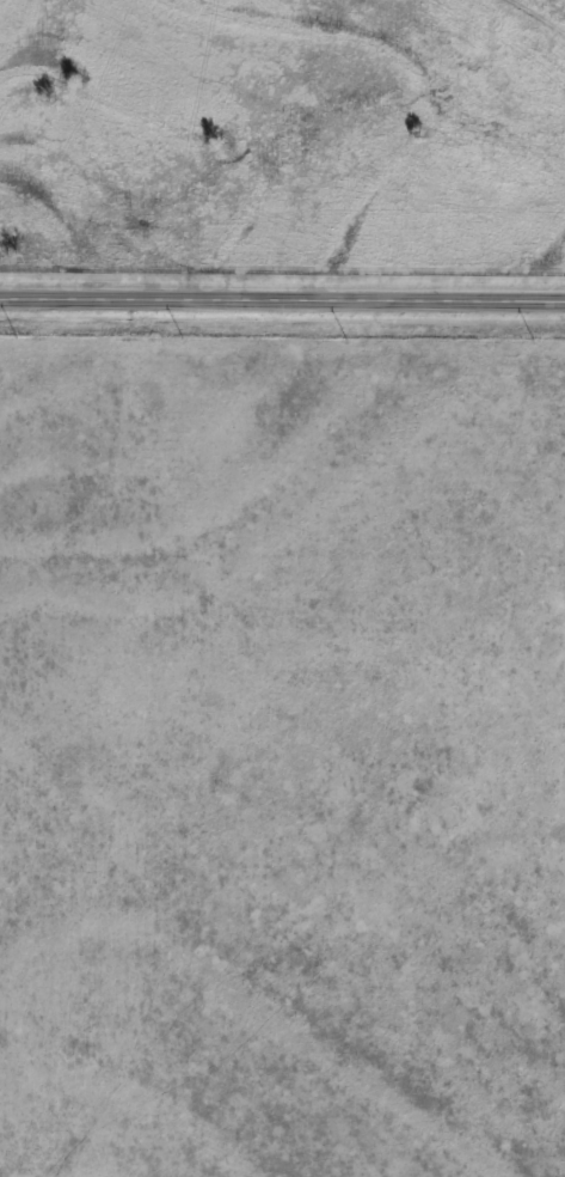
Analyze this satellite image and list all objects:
road: (282, 300)

